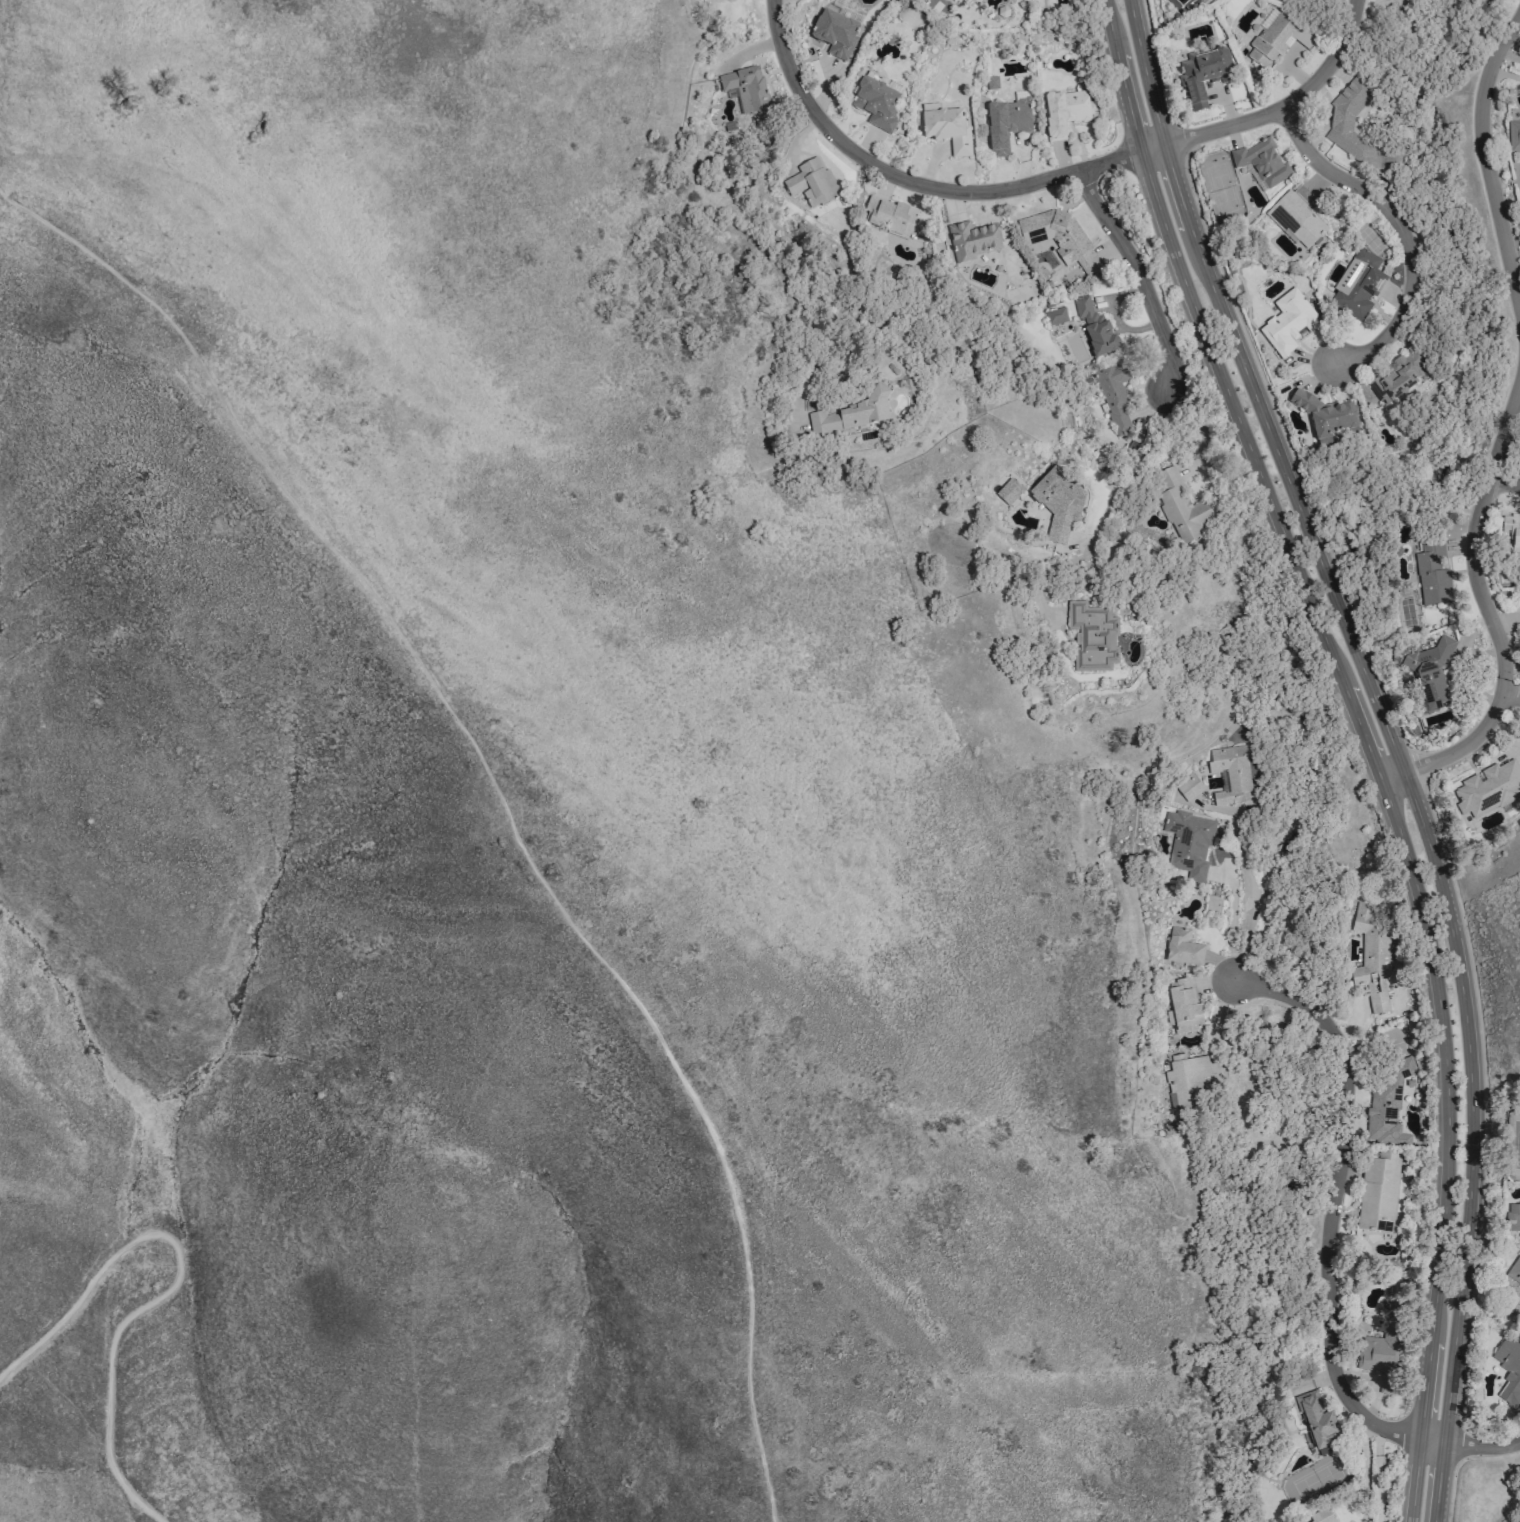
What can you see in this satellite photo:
building: (952, 0)
building: (833, 33)
building: (1277, 39)
road: (1142, 72)
building: (1203, 75)
building: (991, 82)
building: (746, 87)
building: (1351, 96)
building: (876, 103)
building: (1065, 112)
building: (1006, 123)
building: (946, 128)
building: (1513, 135)
building: (1349, 143)
building: (1262, 162)
road: (1484, 163)
road: (1045, 178)
building: (812, 183)
building: (889, 216)
building: (1298, 216)
road: (1402, 231)
building: (1060, 238)
building: (972, 240)
road: (1513, 258)
road: (1139, 276)
building: (1357, 285)
building: (1055, 316)
building: (1288, 322)
building: (1095, 328)
building: (1398, 376)
building: (1114, 394)
road: (1229, 396)
building: (851, 415)
building: (1325, 415)
road: (1279, 459)
road: (1503, 479)
building: (1008, 490)
building: (1060, 503)
building: (1179, 505)
road: (1102, 513)
building: (1512, 531)
building: (1432, 577)
road: (1482, 604)
building: (1092, 636)
road: (1511, 694)
building: (1230, 773)
building: (1189, 787)
building: (1489, 788)
road: (499, 797)
building: (1189, 842)
road: (1246, 895)
road: (1230, 922)
building: (1182, 947)
road: (1456, 947)
road: (1431, 953)
building: (1372, 955)
building: (1184, 1005)
road: (1216, 1026)
building: (1186, 1081)
building: (1378, 1192)
road: (1336, 1203)
building: (1513, 1217)
building: (1514, 1273)
road: (170, 1284)
road: (1434, 1325)
road: (1457, 1325)
building: (1382, 1350)
building: (1512, 1380)
building: (1317, 1423)
road: (1472, 1447)
building: (1321, 1517)

